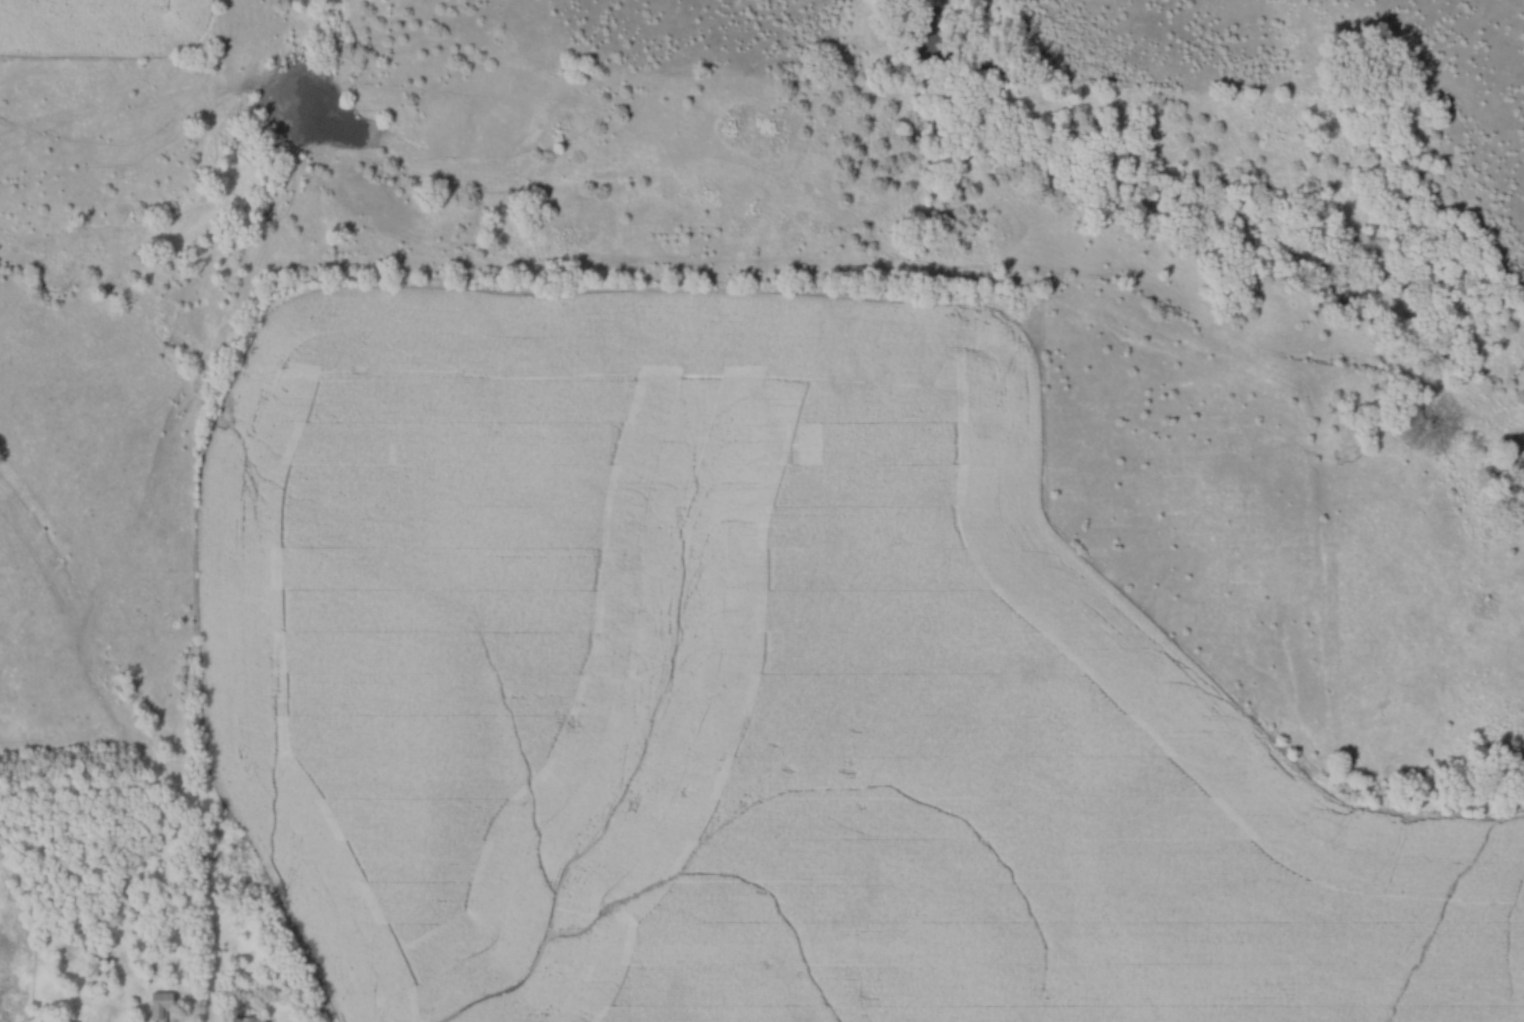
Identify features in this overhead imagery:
crop: (104, 26)
building: (103, 938)
building: (101, 956)
building: (162, 1005)
building: (64, 1018)
building: (243, 1019)

